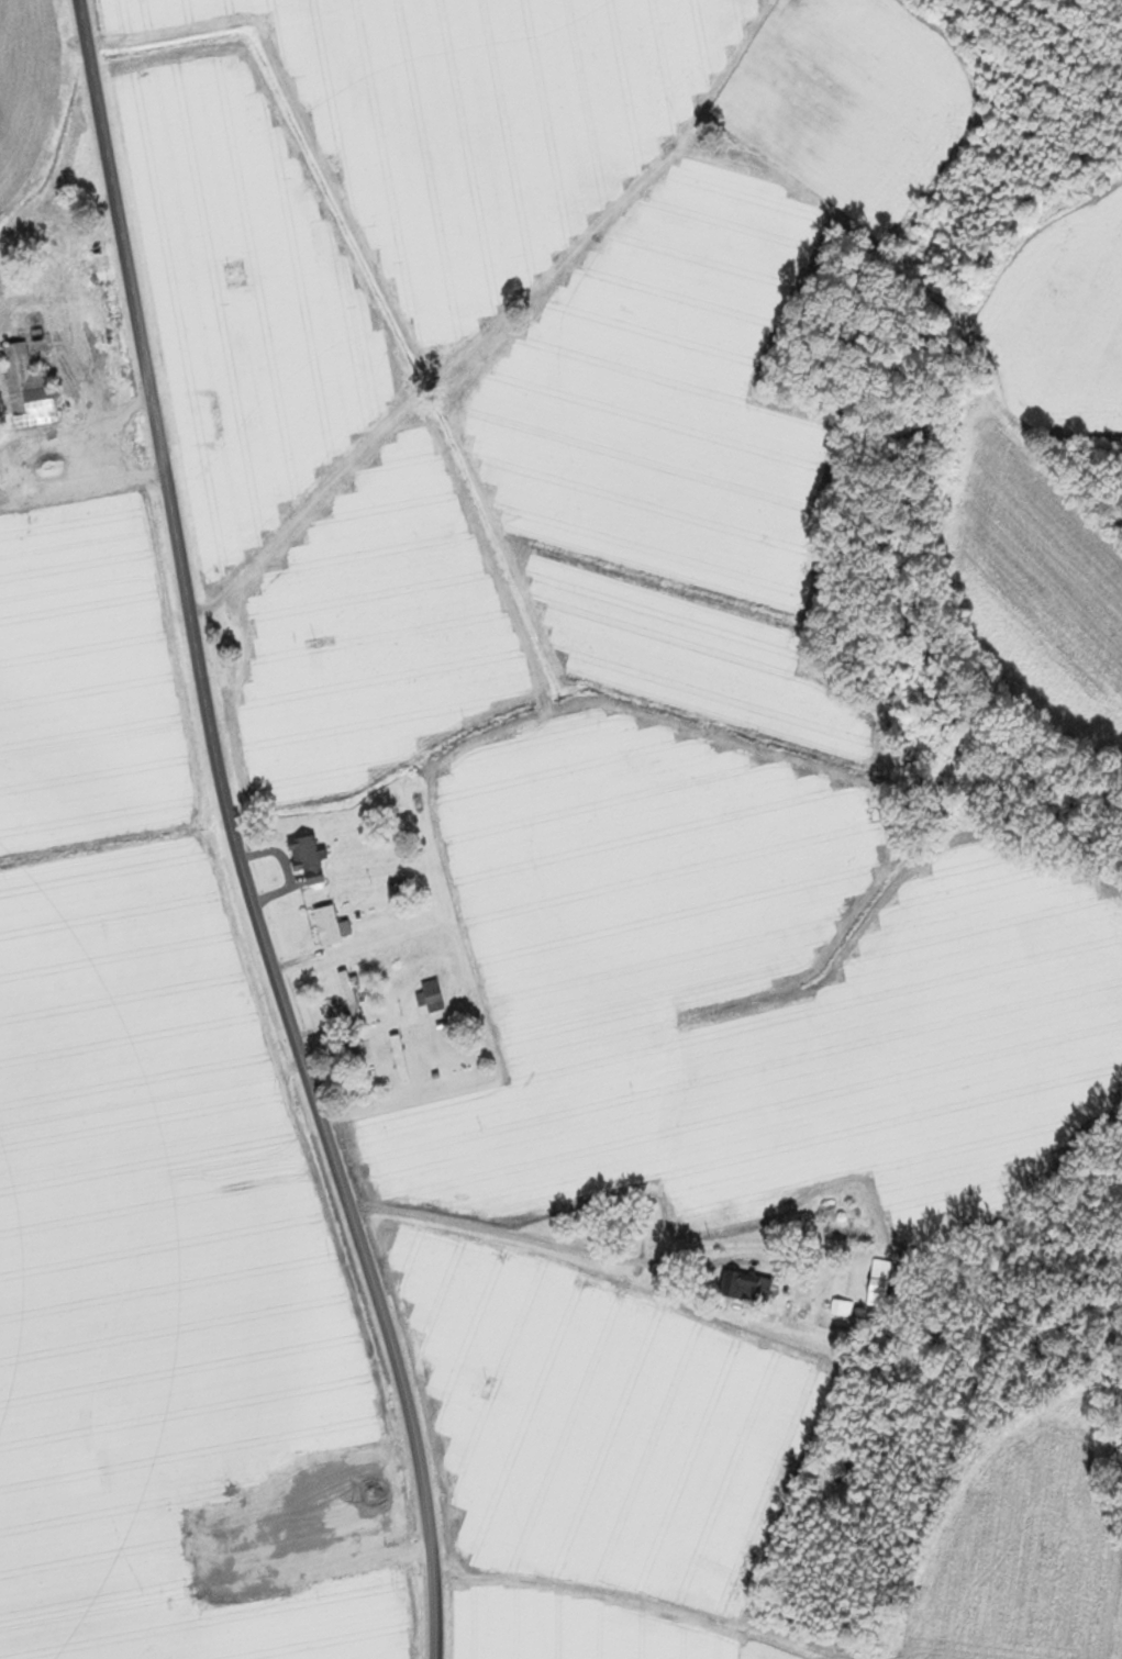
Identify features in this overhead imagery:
building: (63, 246)
road: (129, 263)
building: (27, 389)
building: (200, 420)
building: (306, 858)
building: (329, 926)
building: (348, 996)
building: (429, 996)
building: (397, 1058)
road: (304, 1093)
road: (524, 1236)
building: (877, 1283)
building: (744, 1288)
building: (840, 1309)

